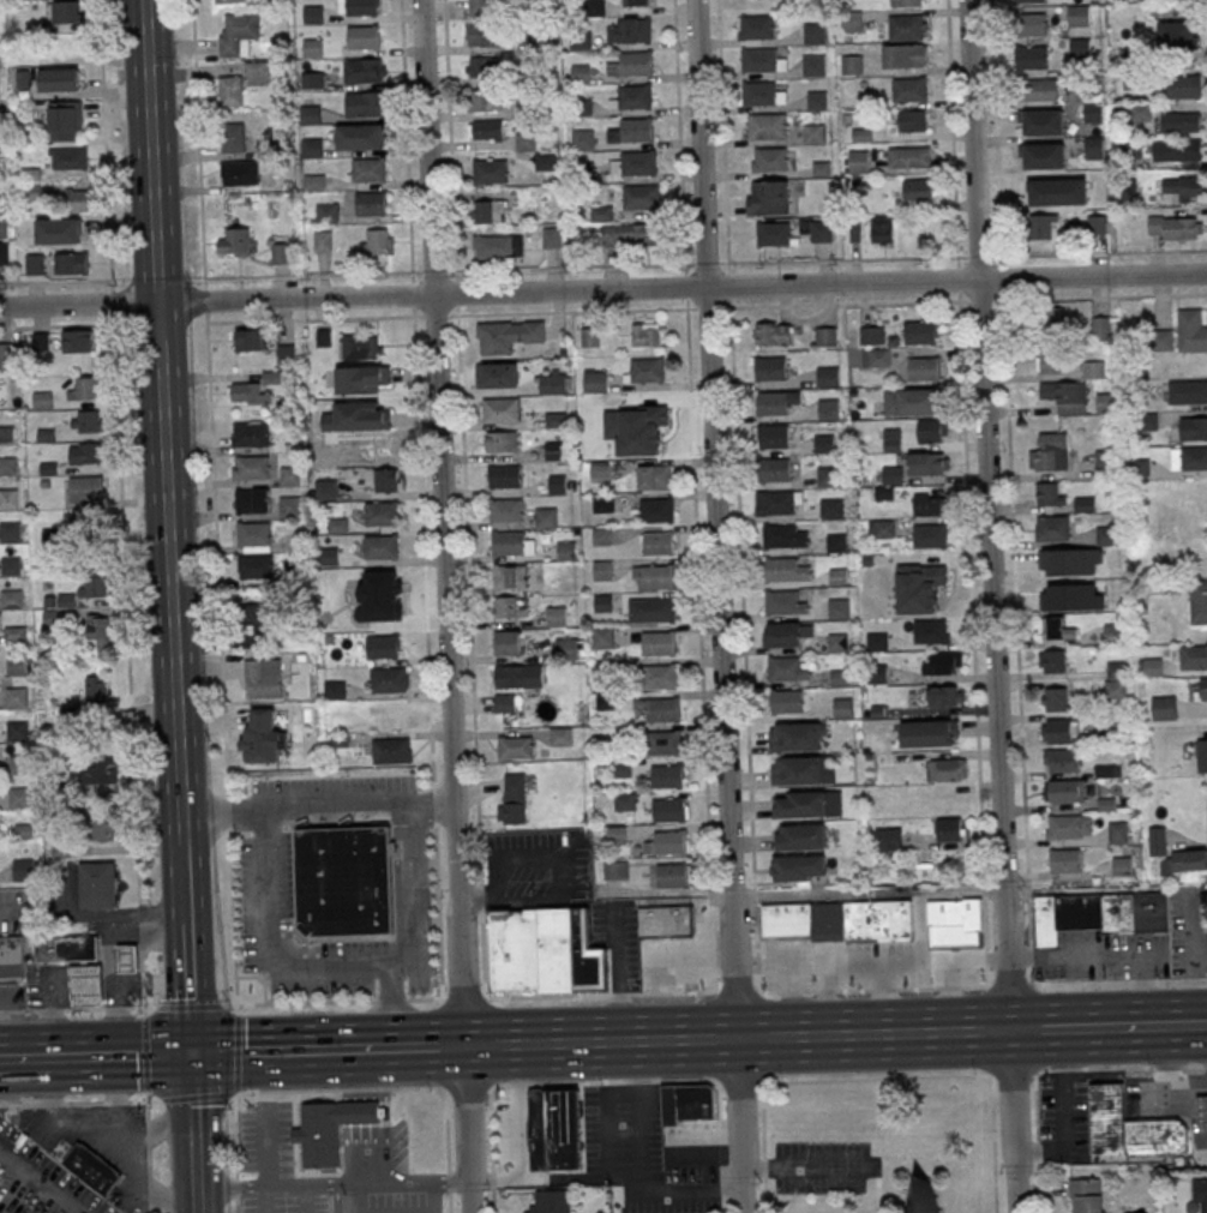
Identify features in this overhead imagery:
building: (227, 1)
building: (1028, 1)
building: (635, 2)
building: (908, 2)
building: (361, 7)
building: (480, 7)
building: (594, 7)
building: (67, 12)
building: (1079, 14)
building: (313, 16)
building: (852, 20)
building: (1033, 24)
building: (906, 26)
building: (757, 28)
building: (627, 31)
building: (815, 32)
building: (238, 34)
building: (482, 35)
building: (1177, 35)
building: (362, 37)
building: (581, 40)
building: (540, 41)
building: (1080, 47)
building: (313, 48)
building: (905, 55)
building: (1031, 56)
building: (758, 61)
building: (635, 64)
building: (852, 64)
building: (813, 65)
building: (482, 68)
building: (364, 71)
building: (581, 73)
building: (535, 76)
building: (60, 79)
building: (312, 80)
building: (244, 83)
building: (1184, 85)
building: (907, 89)
building: (1040, 89)
building: (758, 94)
building: (633, 98)
building: (817, 100)
building: (484, 102)
building: (365, 104)
building: (583, 107)
building: (1140, 112)
building: (1093, 113)
building: (311, 116)
building: (65, 121)
building: (909, 121)
building: (1043, 121)
building: (1182, 121)
building: (768, 127)
building: (485, 131)
building: (635, 131)
building: (813, 133)
building: (232, 138)
building: (361, 138)
building: (584, 139)
building: (526, 142)
building: (1094, 146)
building: (313, 148)
building: (1130, 148)
building: (1183, 149)
building: (1043, 155)
building: (911, 156)
building: (67, 158)
building: (769, 160)
road: (199, 161)
building: (858, 161)
building: (545, 162)
building: (638, 164)
building: (368, 170)
building: (584, 172)
building: (491, 173)
building: (242, 174)
road: (451, 179)
building: (1185, 186)
building: (918, 190)
building: (641, 197)
building: (767, 197)
building: (78, 200)
building: (371, 204)
building: (488, 212)
building: (329, 214)
building: (601, 214)
building: (1097, 223)
building: (1043, 226)
building: (1176, 227)
building: (882, 228)
building: (4, 229)
building: (819, 230)
building: (58, 233)
building: (773, 233)
building: (629, 236)
building: (551, 238)
building: (239, 240)
building: (323, 242)
building: (377, 244)
building: (497, 247)
building: (5, 253)
building: (281, 253)
building: (71, 264)
building: (35, 265)
road: (705, 265)
road: (55, 282)
road: (821, 283)
road: (295, 299)
road: (78, 304)
road: (310, 319)
building: (1049, 319)
road: (56, 326)
building: (1100, 326)
building: (1191, 329)
building: (773, 332)
building: (920, 334)
building: (645, 335)
building: (825, 336)
building: (872, 336)
building: (506, 337)
building: (590, 338)
building: (1161, 340)
building: (250, 341)
building: (78, 342)
building: (361, 347)
building: (6, 356)
building: (876, 358)
building: (1049, 359)
building: (770, 368)
building: (1093, 368)
building: (924, 370)
building: (647, 371)
building: (498, 376)
building: (828, 377)
building: (362, 380)
building: (594, 382)
building: (553, 383)
road: (161, 388)
building: (85, 390)
building: (1187, 391)
building: (250, 394)
building: (1065, 396)
building: (42, 400)
road: (438, 401)
building: (911, 401)
building: (1105, 401)
building: (771, 403)
building: (829, 409)
building: (500, 410)
building: (362, 416)
building: (88, 422)
building: (1193, 427)
building: (933, 430)
building: (6, 434)
building: (250, 434)
building: (774, 438)
building: (891, 439)
building: (500, 443)
building: (824, 444)
building: (374, 446)
building: (557, 450)
building: (1050, 452)
building: (85, 454)
building: (1189, 457)
building: (1105, 462)
building: (926, 464)
building: (1140, 467)
building: (7, 468)
building: (251, 468)
building: (602, 470)
building: (774, 470)
building: (893, 475)
building: (289, 476)
building: (504, 476)
building: (655, 478)
building: (829, 478)
building: (386, 481)
building: (553, 485)
building: (85, 490)
building: (326, 490)
building: (1050, 493)
building: (8, 500)
building: (253, 500)
road: (120, 504)
building: (603, 504)
building: (777, 504)
building: (930, 504)
building: (289, 508)
building: (831, 510)
building: (505, 511)
building: (657, 511)
building: (382, 515)
building: (546, 518)
building: (91, 524)
building: (1052, 527)
building: (882, 528)
building: (10, 533)
building: (52, 535)
building: (930, 535)
building: (1106, 535)
building: (602, 536)
building: (253, 538)
building: (785, 538)
building: (509, 544)
building: (659, 544)
building: (837, 544)
building: (380, 547)
building: (328, 557)
building: (11, 568)
building: (254, 568)
building: (603, 570)
building: (787, 571)
building: (509, 577)
building: (657, 577)
building: (839, 577)
building: (92, 587)
building: (919, 587)
building: (374, 593)
building: (12, 600)
building: (58, 601)
building: (1199, 601)
building: (603, 602)
building: (785, 604)
road: (721, 606)
road: (991, 606)
building: (510, 607)
building: (839, 609)
building: (653, 612)
building: (556, 617)
building: (50, 619)
building: (385, 620)
building: (254, 625)
building: (1055, 627)
building: (931, 630)
building: (98, 631)
building: (1113, 633)
building: (14, 635)
building: (783, 636)
building: (603, 638)
building: (877, 642)
building: (506, 643)
building: (839, 643)
building: (660, 644)
building: (383, 647)
building: (568, 649)
building: (1193, 656)
building: (1052, 660)
building: (942, 662)
building: (16, 666)
building: (1152, 666)
building: (787, 669)
building: (877, 673)
building: (518, 677)
building: (262, 678)
building: (661, 678)
building: (389, 680)
building: (1203, 687)
building: (335, 690)
building: (96, 692)
building: (947, 695)
building: (17, 697)
building: (1055, 698)
building: (787, 702)
building: (504, 703)
building: (843, 708)
building: (1164, 708)
building: (663, 711)
building: (394, 713)
building: (1059, 731)
building: (18, 732)
building: (930, 732)
building: (797, 735)
building: (262, 737)
building: (560, 737)
building: (665, 744)
building: (515, 749)
building: (391, 751)
building: (1201, 755)
building: (1062, 759)
building: (19, 764)
building: (948, 768)
building: (621, 769)
building: (800, 769)
building: (1109, 769)
building: (101, 774)
building: (668, 779)
building: (58, 783)
building: (1071, 789)
parking lot: (334, 792)
building: (20, 798)
road: (179, 798)
building: (512, 799)
building: (942, 800)
road: (433, 803)
building: (624, 803)
building: (800, 804)
road: (341, 805)
road: (433, 807)
road: (224, 809)
building: (669, 812)
road: (227, 816)
road: (290, 819)
building: (1068, 825)
building: (950, 829)
building: (103, 830)
building: (24, 831)
building: (1118, 831)
building: (615, 834)
building: (801, 836)
building: (889, 837)
building: (672, 843)
building: (62, 847)
building: (1175, 853)
building: (1065, 859)
road: (181, 863)
building: (1122, 865)
building: (24, 870)
building: (793, 870)
building: (615, 871)
building: (672, 876)
building: (346, 879)
building: (97, 885)
road: (415, 885)
road: (869, 893)
parking lot: (263, 895)
building: (1203, 909)
road: (438, 913)
building: (1101, 913)
road: (232, 919)
building: (837, 920)
building: (666, 921)
building: (955, 923)
road: (296, 930)
road: (406, 936)
road: (299, 937)
building: (62, 949)
building: (545, 953)
road: (274, 956)
road: (281, 956)
building: (12, 960)
building: (124, 960)
parking lot: (332, 971)
road: (186, 978)
road: (262, 978)
road: (258, 980)
building: (83, 985)
road: (807, 991)
road: (391, 1001)
road: (186, 1007)
road: (463, 1007)
road: (390, 1008)
road: (1196, 1025)
road: (1172, 1026)
road: (1093, 1028)
road: (1019, 1031)
road: (737, 1039)
road: (450, 1046)
road: (1065, 1047)
road: (374, 1049)
road: (252, 1052)
traffic signals: (191, 1055)
road: (130, 1056)
road: (34, 1057)
road: (962, 1076)
road: (603, 1083)
road: (364, 1089)
road: (245, 1093)
road: (128, 1101)
road: (446, 1104)
building: (689, 1104)
building: (1104, 1105)
building: (1202, 1107)
road: (522, 1112)
parking lot: (1065, 1113)
gas station: (1167, 1115)
road: (386, 1116)
building: (329, 1128)
building: (554, 1130)
road: (1067, 1131)
road: (193, 1134)
building: (1157, 1134)
parking lot: (264, 1135)
building: (1105, 1141)
road: (1038, 1142)
road: (993, 1145)
road: (764, 1147)
road: (263, 1157)
road: (638, 1166)
parking lot: (822, 1166)
road: (804, 1167)
building: (89, 1169)
road: (553, 1179)
road: (448, 1182)
road: (36, 1188)
road: (236, 1188)
road: (331, 1188)
building: (1200, 1191)
building: (1087, 1195)
building: (919, 1196)
road: (430, 1197)
road: (336, 1200)
road: (358, 1200)
road: (307, 1201)
building: (551, 1201)
parking lot: (397, 1202)
road: (449, 1202)
parking lot: (284, 1203)
road: (236, 1205)

